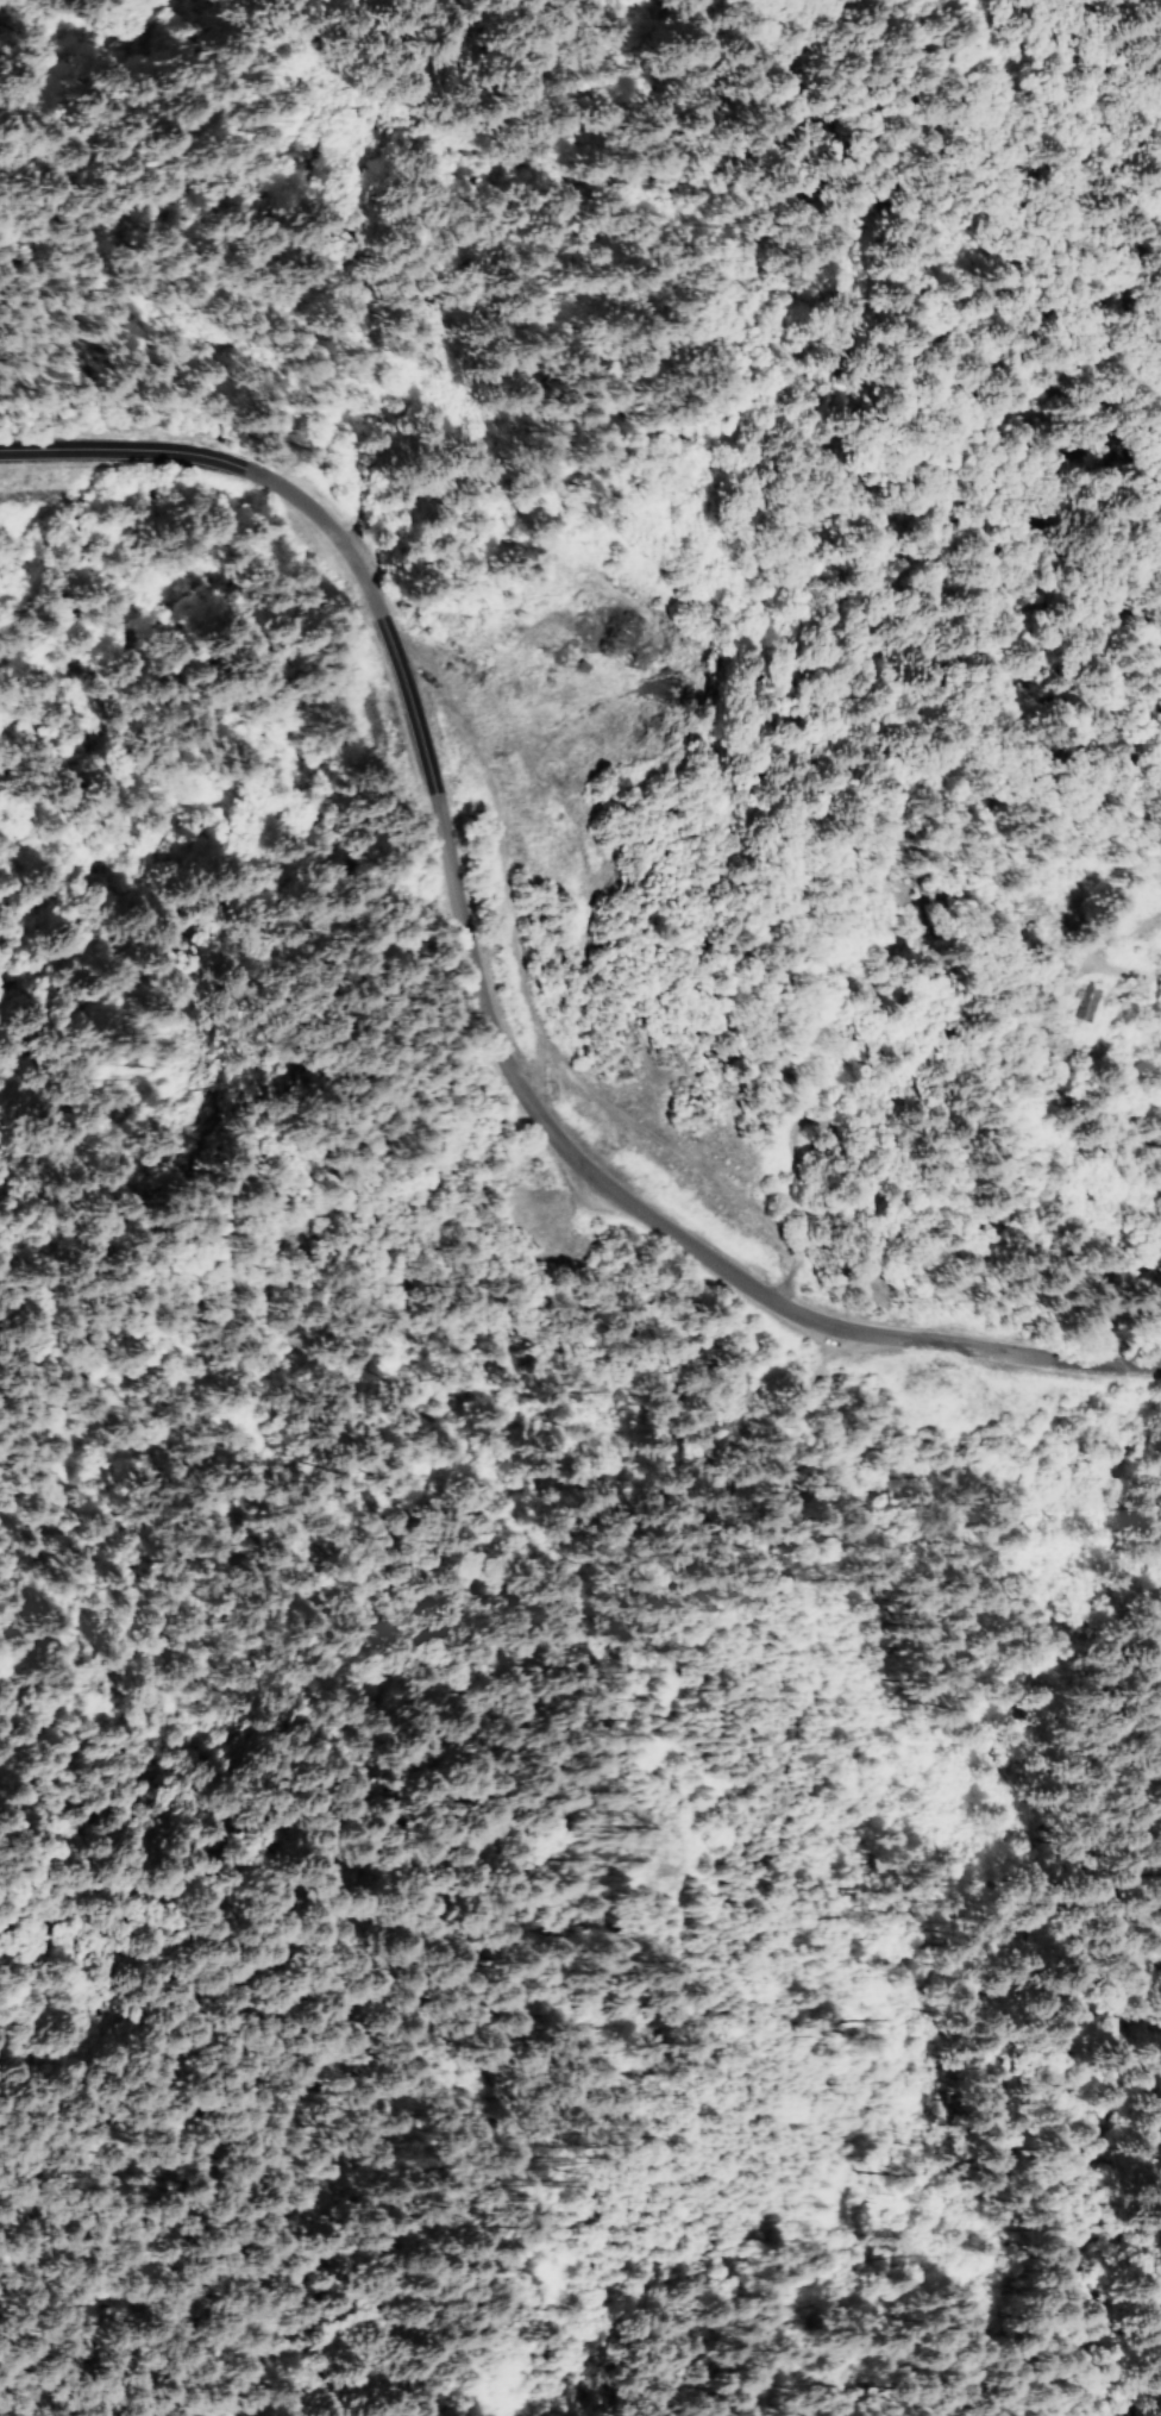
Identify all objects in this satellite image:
road: (488, 776)
road: (1092, 966)
road: (475, 995)
road: (889, 1198)

